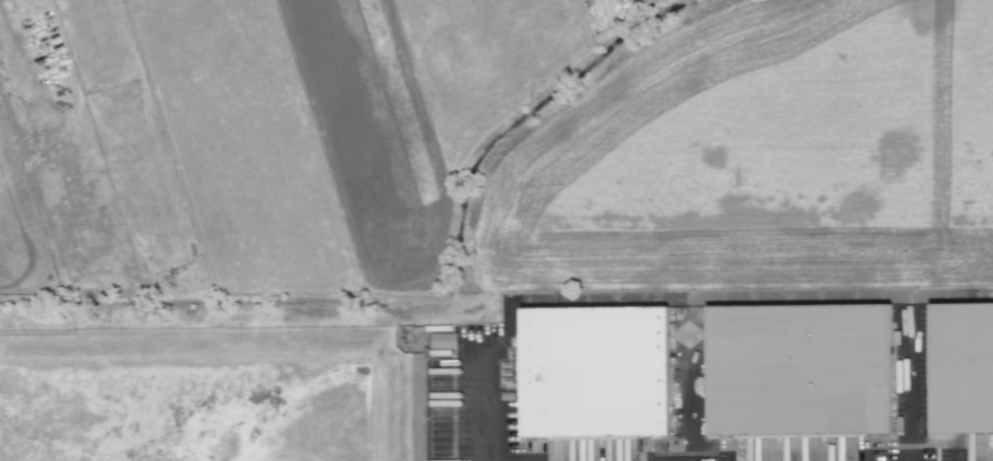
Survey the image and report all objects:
building: (442, 340)
building: (959, 360)
building: (792, 363)
building: (589, 364)
road: (908, 397)
road: (487, 401)

